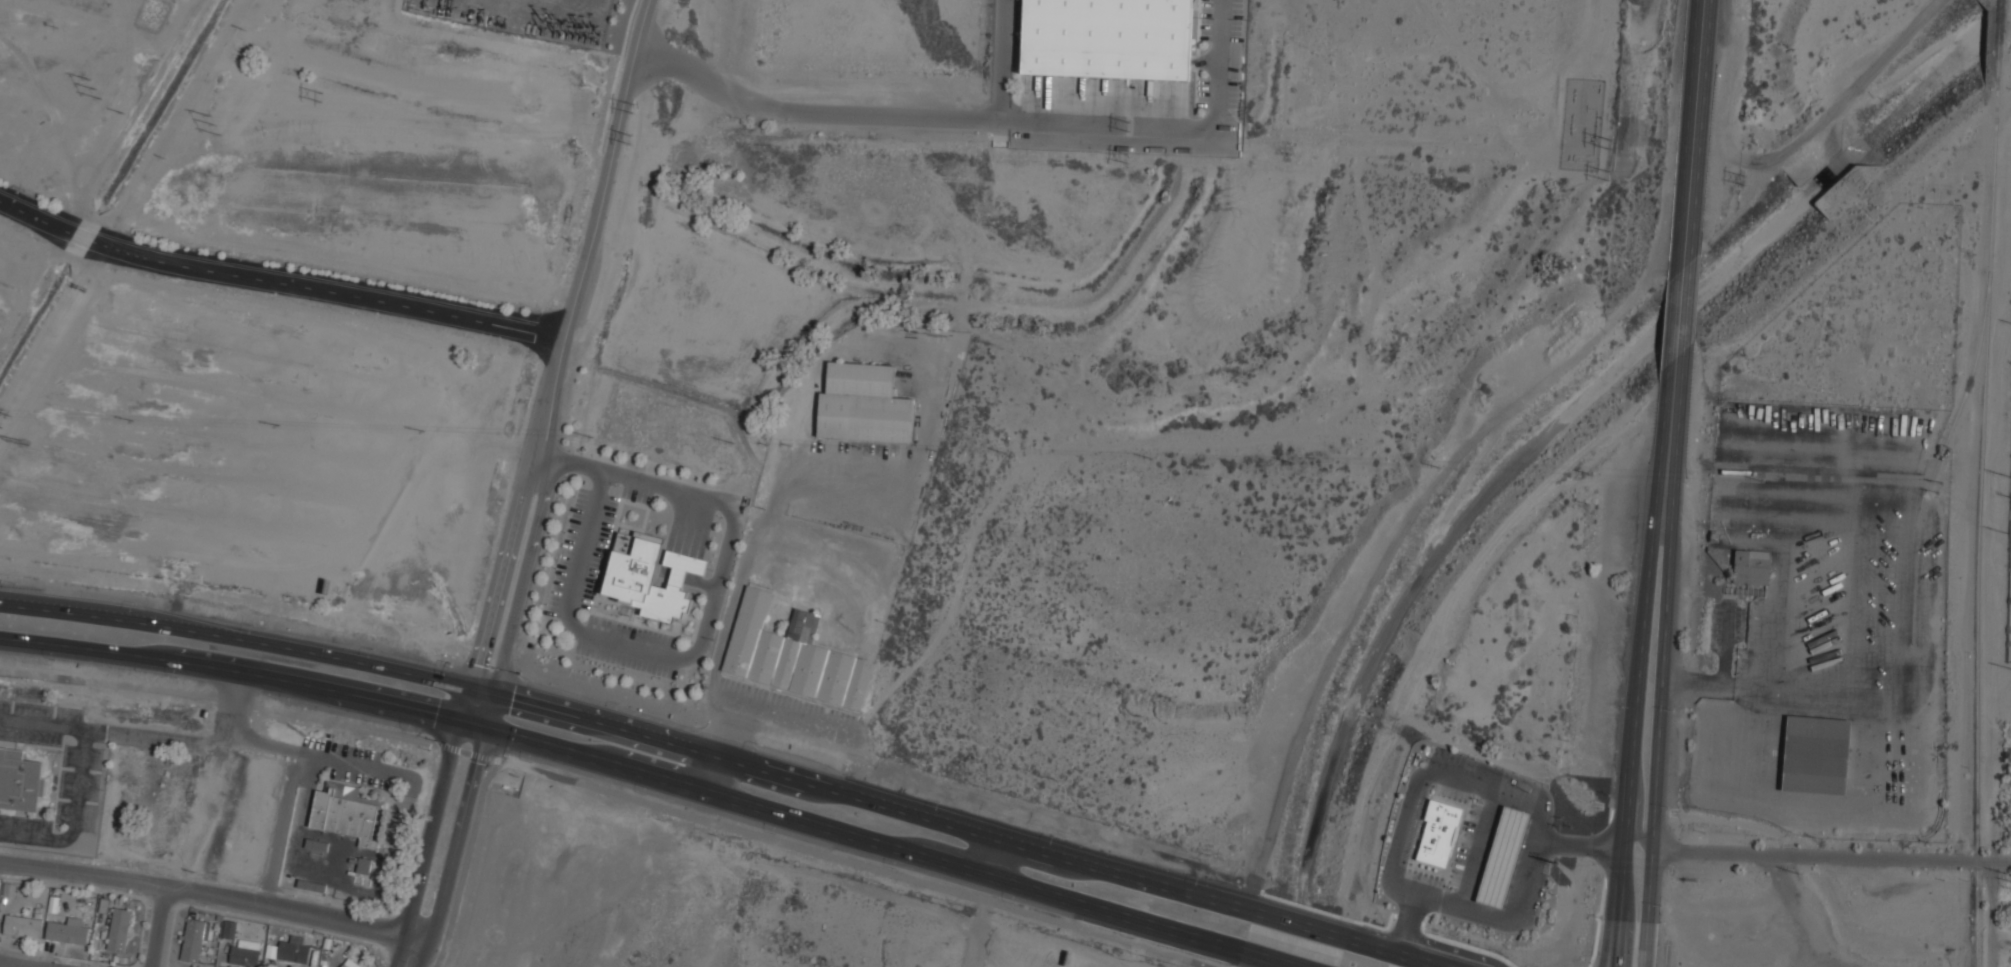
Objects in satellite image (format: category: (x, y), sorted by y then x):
building: (1107, 38)
railway: (1999, 43)
power tower: (84, 79)
power tower: (315, 95)
power tower: (641, 107)
road: (916, 111)
power tower: (1121, 121)
power tower: (213, 125)
road: (1690, 136)
power tower: (637, 139)
power tower: (1613, 147)
power tower: (1123, 157)
road: (609, 169)
power tower: (1740, 181)
power tower: (1615, 182)
road: (277, 282)
road: (1677, 313)
road: (551, 403)
building: (862, 405)
road: (1670, 422)
power tower: (18, 444)
railway: (1940, 454)
railway: (1980, 526)
road: (744, 558)
building: (1751, 566)
road: (502, 576)
road: (525, 581)
building: (790, 583)
building: (635, 586)
road: (21, 603)
road: (705, 629)
power substation: (2010, 629)
road: (236, 639)
building: (792, 655)
road: (231, 670)
traffic signals: (472, 687)
road: (485, 690)
traffic signals: (498, 694)
road: (466, 703)
road: (492, 711)
road: (788, 715)
traffic signals: (460, 720)
road: (473, 724)
road: (720, 727)
road: (1635, 727)
traffic signals: (487, 728)
road: (1658, 728)
road: (114, 733)
road: (318, 756)
building: (1815, 757)
road: (709, 774)
building: (19, 780)
parking lot: (366, 781)
road: (612, 794)
road: (876, 804)
road: (1639, 804)
building: (343, 812)
road: (75, 818)
road: (279, 826)
road: (430, 827)
building: (1438, 832)
road: (457, 836)
road: (864, 839)
building: (316, 844)
road: (1793, 854)
building: (1503, 856)
gas station: (1503, 856)
road: (995, 858)
road: (1973, 859)
building: (363, 864)
power tower: (1558, 866)
building: (311, 884)
road: (207, 894)
building: (21, 924)
road: (161, 926)
road: (1301, 927)
building: (118, 929)
building: (229, 929)
building: (67, 930)
building: (193, 940)
building: (293, 950)
road: (409, 951)
road: (1390, 954)
building: (244, 956)
road: (1265, 960)
building: (350, 963)
road: (11, 965)

